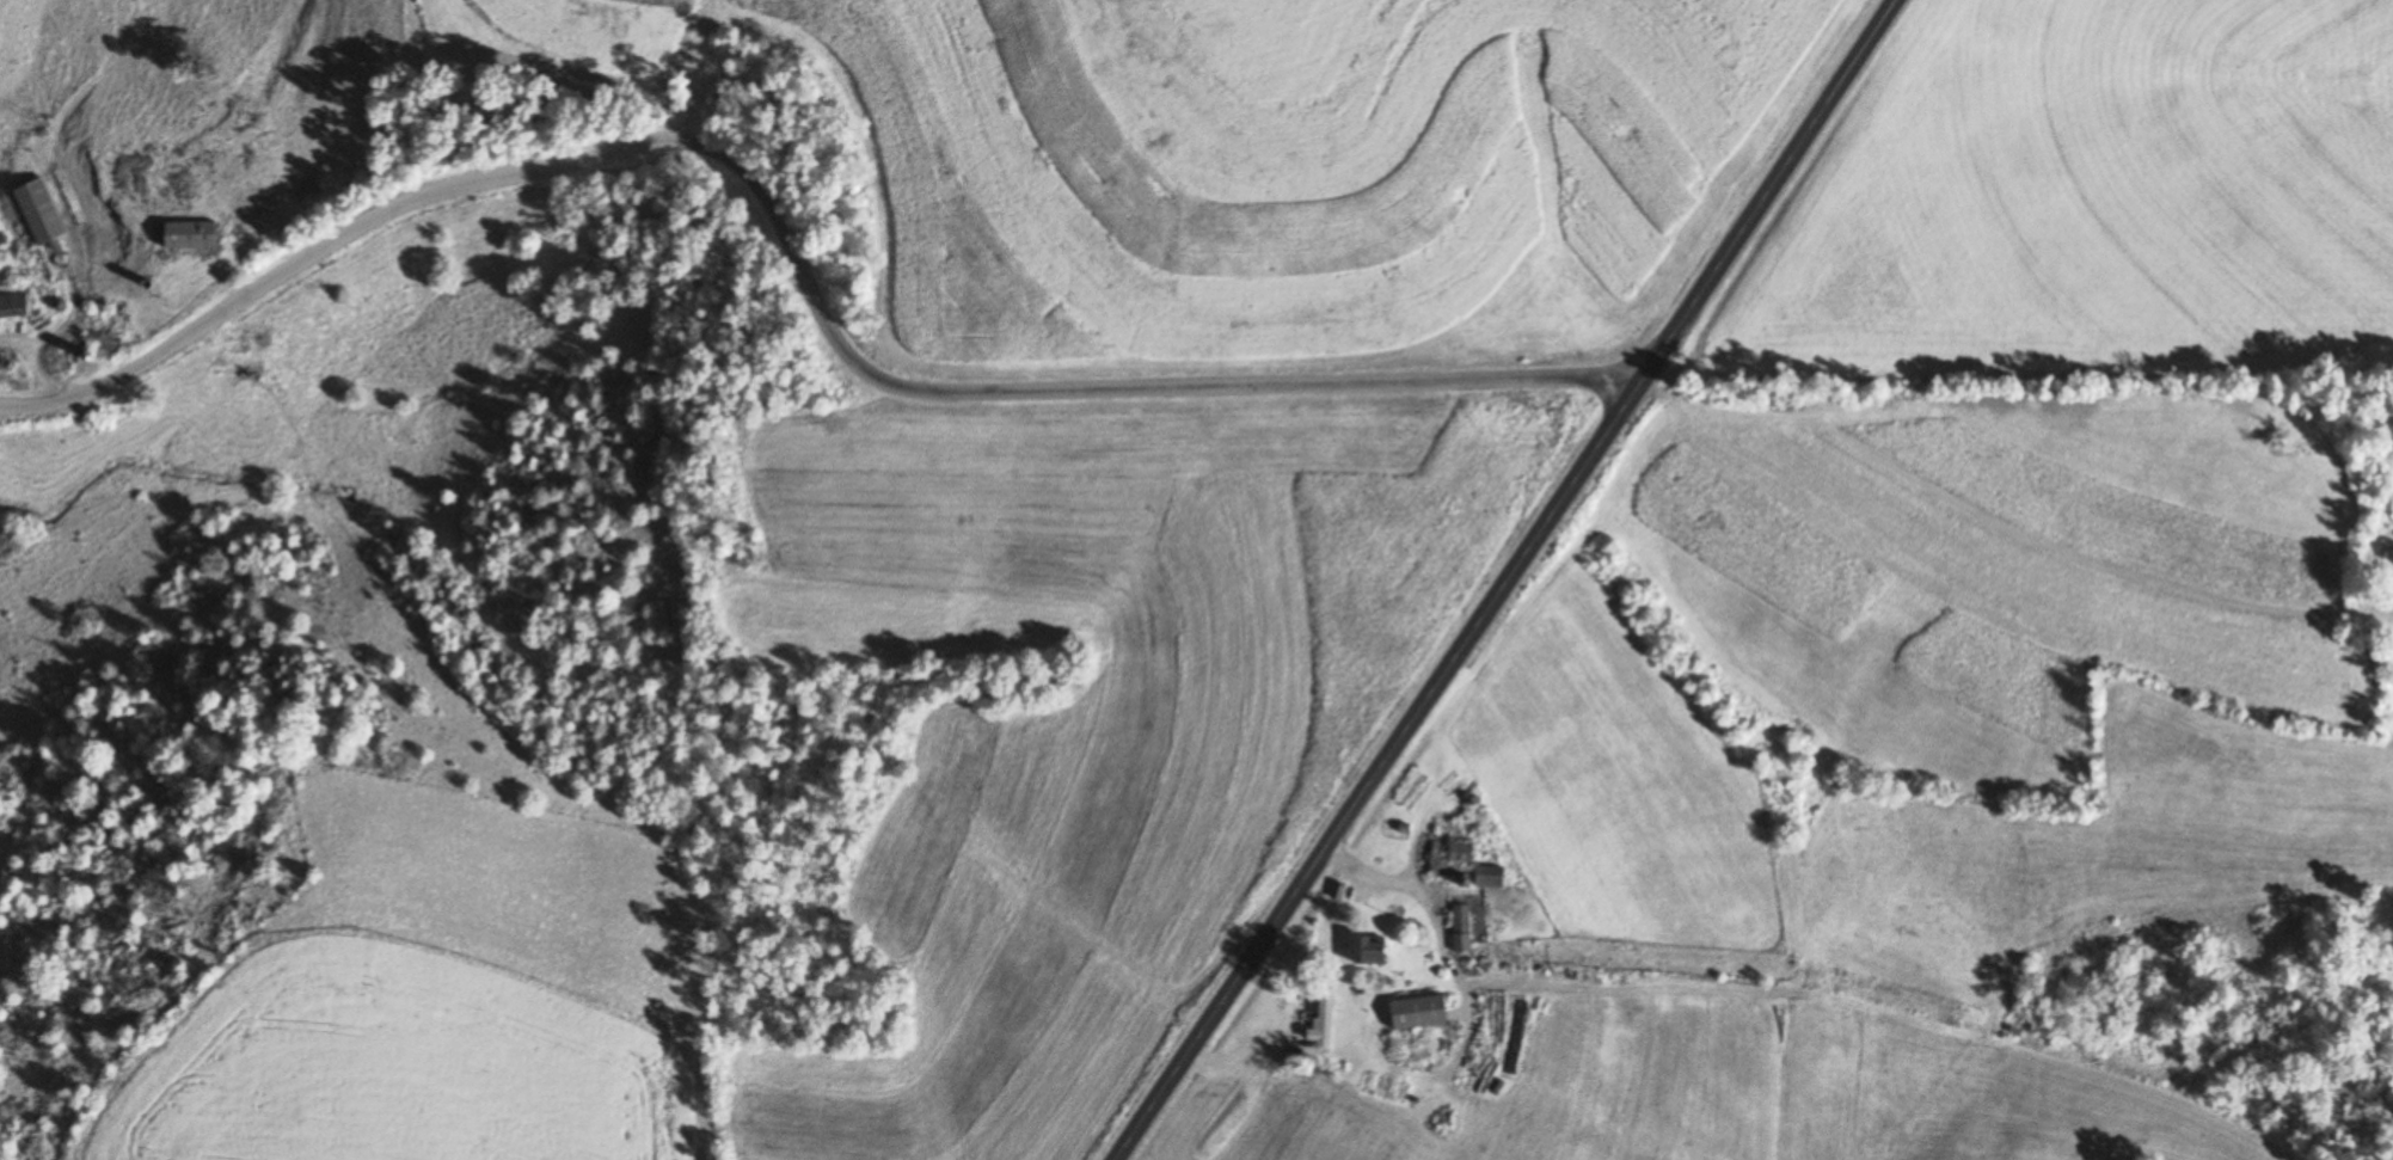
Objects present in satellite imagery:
crop: (606, 13)
crop: (1297, 167)
crop: (2093, 198)
building: (44, 211)
building: (198, 235)
road: (791, 246)
building: (14, 306)
building: (113, 336)
crop: (1994, 569)
road: (1499, 578)
crop: (1099, 711)
crop: (1614, 782)
building: (1467, 860)
crop: (2103, 877)
road: (1426, 916)
building: (1464, 929)
building: (1374, 952)
crop: (1621, 956)
building: (1425, 1013)
crop: (1630, 1073)
crop: (1300, 1122)

